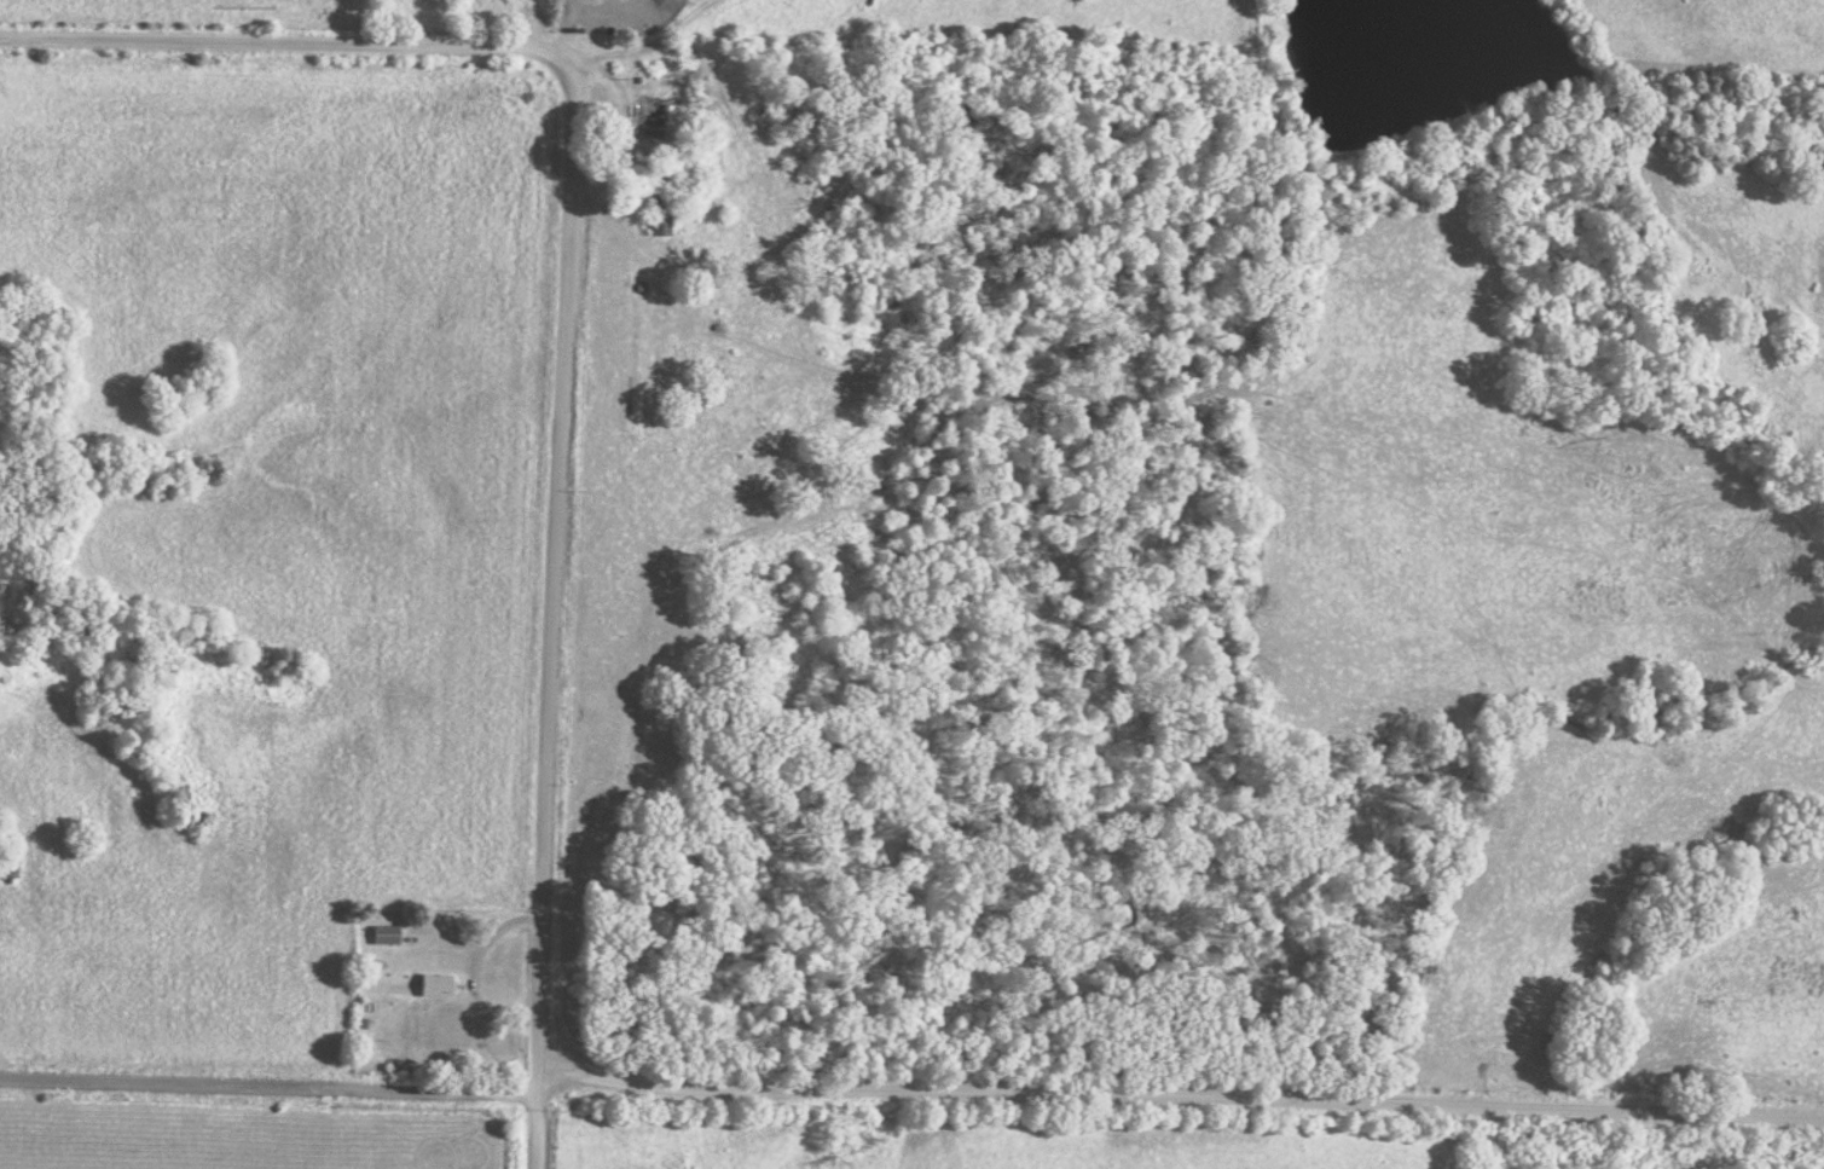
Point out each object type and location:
road: (285, 45)
building: (652, 117)
building: (661, 215)
road: (551, 615)
building: (435, 985)
road: (572, 1060)
road: (910, 1086)

